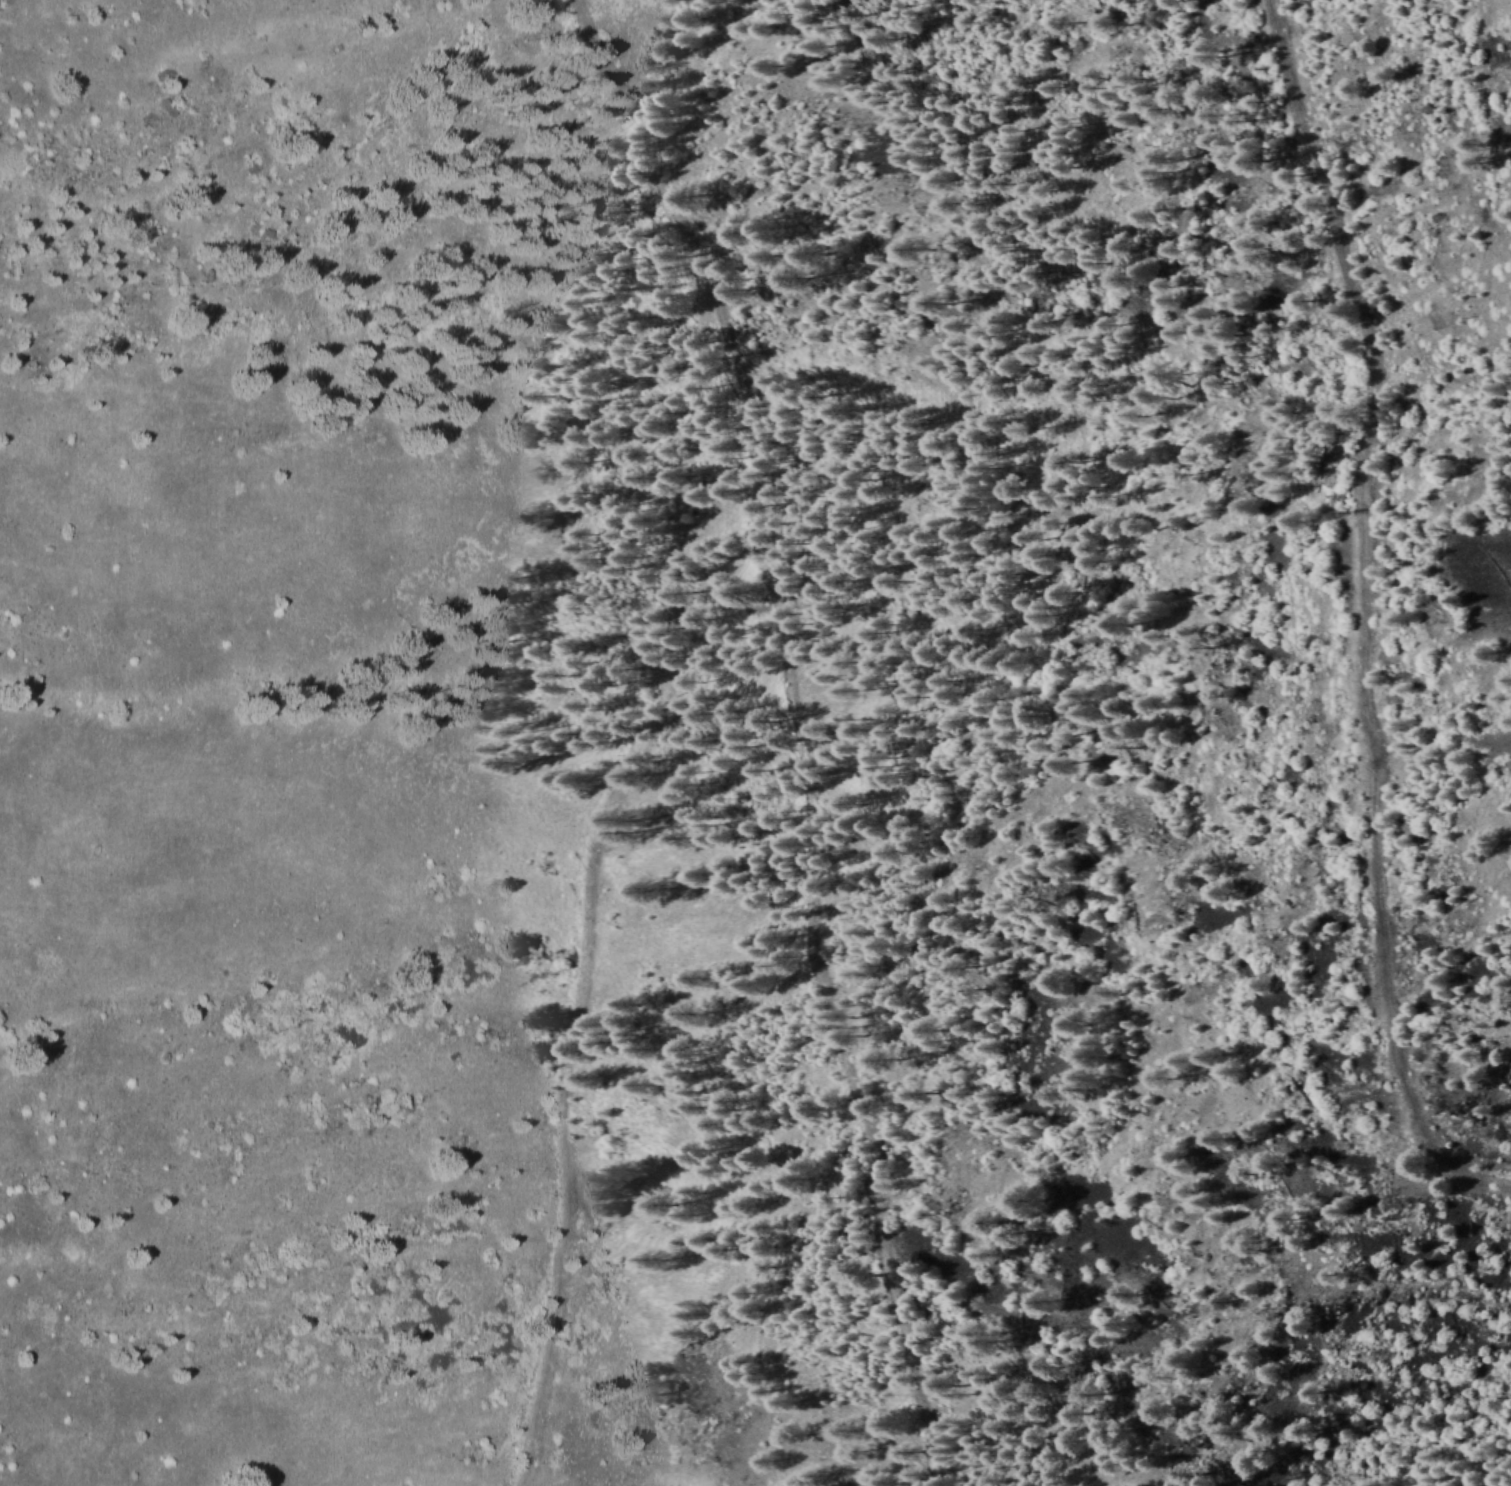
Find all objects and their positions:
road: (1341, 615)

